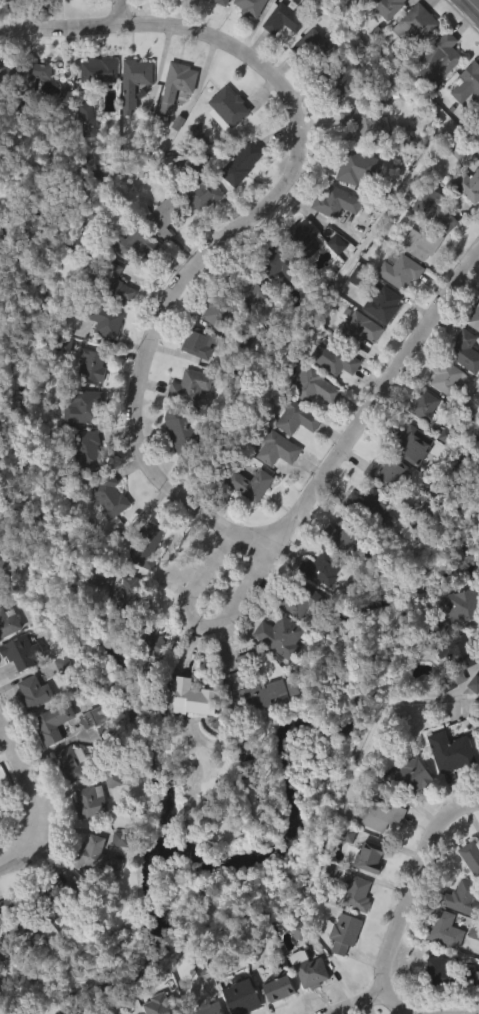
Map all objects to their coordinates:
building: (223, 2)
road: (475, 3)
building: (277, 4)
building: (389, 6)
building: (252, 7)
road: (121, 8)
building: (358, 10)
building: (158, 11)
building: (60, 15)
building: (288, 17)
building: (212, 19)
road: (61, 21)
building: (417, 24)
building: (384, 34)
building: (317, 46)
building: (277, 52)
building: (410, 58)
building: (441, 58)
building: (101, 70)
building: (25, 75)
building: (314, 77)
building: (340, 77)
road: (405, 79)
building: (132, 83)
building: (468, 83)
building: (178, 84)
building: (433, 92)
building: (94, 103)
building: (229, 107)
building: (20, 108)
building: (129, 115)
building: (339, 116)
building: (464, 116)
building: (92, 118)
building: (171, 118)
building: (222, 141)
building: (83, 152)
building: (243, 162)
building: (360, 167)
building: (470, 185)
building: (205, 189)
building: (237, 195)
building: (337, 202)
building: (437, 207)
building: (165, 216)
building: (466, 218)
building: (199, 227)
building: (331, 235)
building: (304, 237)
building: (423, 242)
building: (140, 246)
road: (216, 249)
building: (158, 250)
building: (282, 263)
building: (298, 270)
building: (402, 271)
building: (332, 277)
building: (132, 278)
building: (111, 282)
building: (247, 285)
building: (272, 297)
building: (384, 303)
building: (219, 310)
road: (314, 310)
building: (475, 318)
building: (105, 319)
building: (246, 324)
building: (362, 329)
building: (378, 337)
building: (201, 342)
building: (467, 350)
building: (101, 354)
building: (336, 358)
building: (356, 360)
building: (91, 364)
building: (450, 377)
building: (314, 385)
building: (192, 386)
building: (426, 406)
building: (85, 407)
building: (440, 409)
building: (297, 416)
building: (185, 428)
building: (77, 440)
building: (412, 443)
building: (279, 449)
building: (86, 452)
building: (1, 453)
building: (176, 463)
building: (389, 474)
building: (406, 477)
building: (272, 482)
building: (84, 484)
building: (252, 484)
road: (318, 487)
building: (105, 494)
building: (383, 504)
building: (363, 506)
building: (245, 517)
building: (104, 532)
building: (349, 537)
building: (363, 537)
building: (146, 544)
building: (326, 569)
building: (6, 572)
building: (98, 574)
building: (135, 596)
building: (296, 600)
building: (316, 601)
building: (464, 606)
building: (93, 610)
building: (8, 621)
building: (125, 623)
building: (437, 632)
building: (283, 636)
building: (149, 638)
building: (456, 639)
building: (25, 652)
building: (459, 652)
building: (276, 669)
building: (147, 675)
building: (452, 683)
building: (252, 685)
building: (17, 686)
building: (35, 693)
building: (196, 699)
road: (438, 699)
building: (96, 717)
building: (471, 717)
building: (53, 722)
building: (28, 725)
building: (253, 725)
building: (188, 731)
building: (88, 750)
road: (5, 755)
building: (48, 756)
building: (73, 762)
building: (410, 777)
building: (446, 784)
building: (64, 797)
building: (91, 800)
road: (34, 804)
building: (1, 806)
building: (405, 809)
building: (108, 813)
building: (381, 814)
building: (85, 834)
building: (97, 855)
building: (472, 855)
building: (370, 856)
road: (415, 887)
building: (92, 889)
building: (358, 893)
building: (464, 897)
building: (62, 899)
building: (19, 920)
building: (446, 928)
building: (345, 931)
building: (4, 942)
building: (338, 965)
building: (311, 968)
building: (451, 972)
building: (276, 986)
building: (244, 996)
road: (375, 996)
building: (198, 998)
building: (304, 999)
building: (434, 1002)
building: (275, 1005)
building: (209, 1007)
building: (119, 1013)

